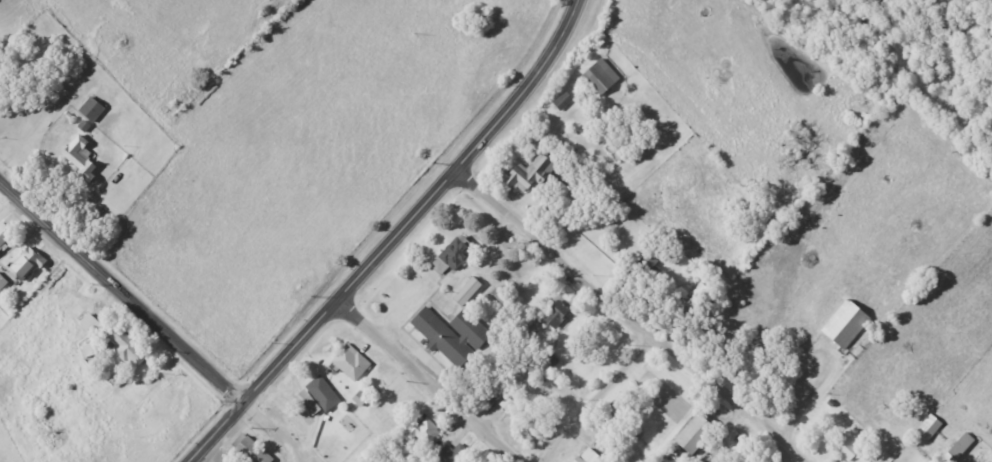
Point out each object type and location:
road: (561, 44)
building: (599, 76)
building: (561, 101)
building: (90, 110)
building: (79, 158)
building: (526, 174)
building: (3, 234)
building: (453, 252)
building: (21, 265)
road: (360, 274)
building: (2, 284)
road: (120, 288)
building: (464, 291)
building: (696, 297)
building: (556, 316)
road: (628, 317)
building: (85, 321)
building: (841, 325)
building: (448, 334)
building: (124, 347)
building: (349, 363)
road: (421, 382)
road: (128, 383)
building: (321, 393)
building: (357, 398)
road: (595, 399)
building: (505, 404)
road: (274, 427)
building: (927, 427)
building: (422, 432)
building: (690, 435)
building: (958, 446)
building: (847, 448)
building: (253, 450)
building: (452, 454)
building: (585, 456)
road: (796, 461)

